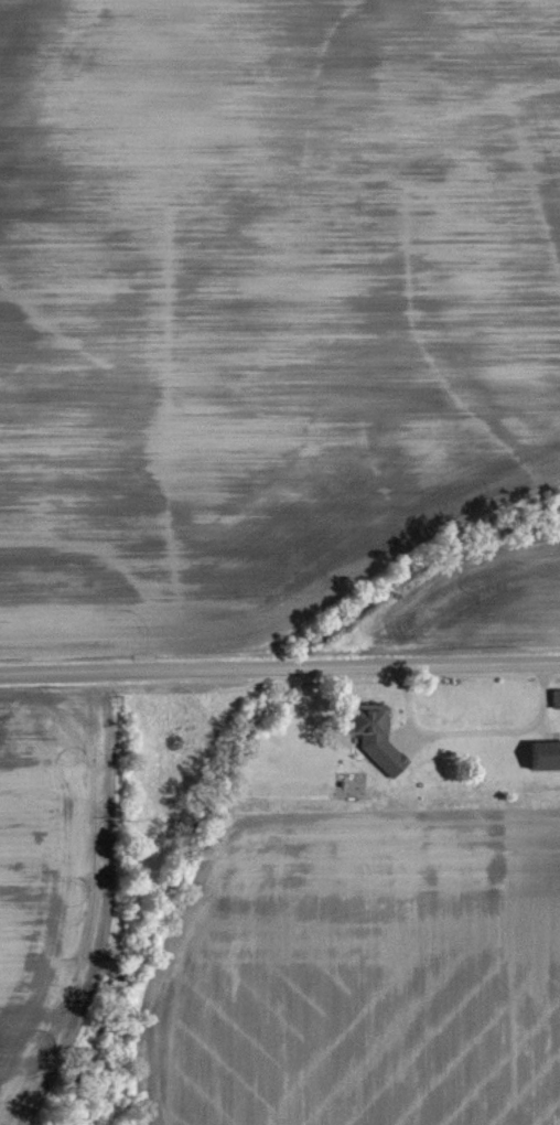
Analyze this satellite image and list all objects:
road: (280, 669)
building: (369, 735)
road: (469, 735)

